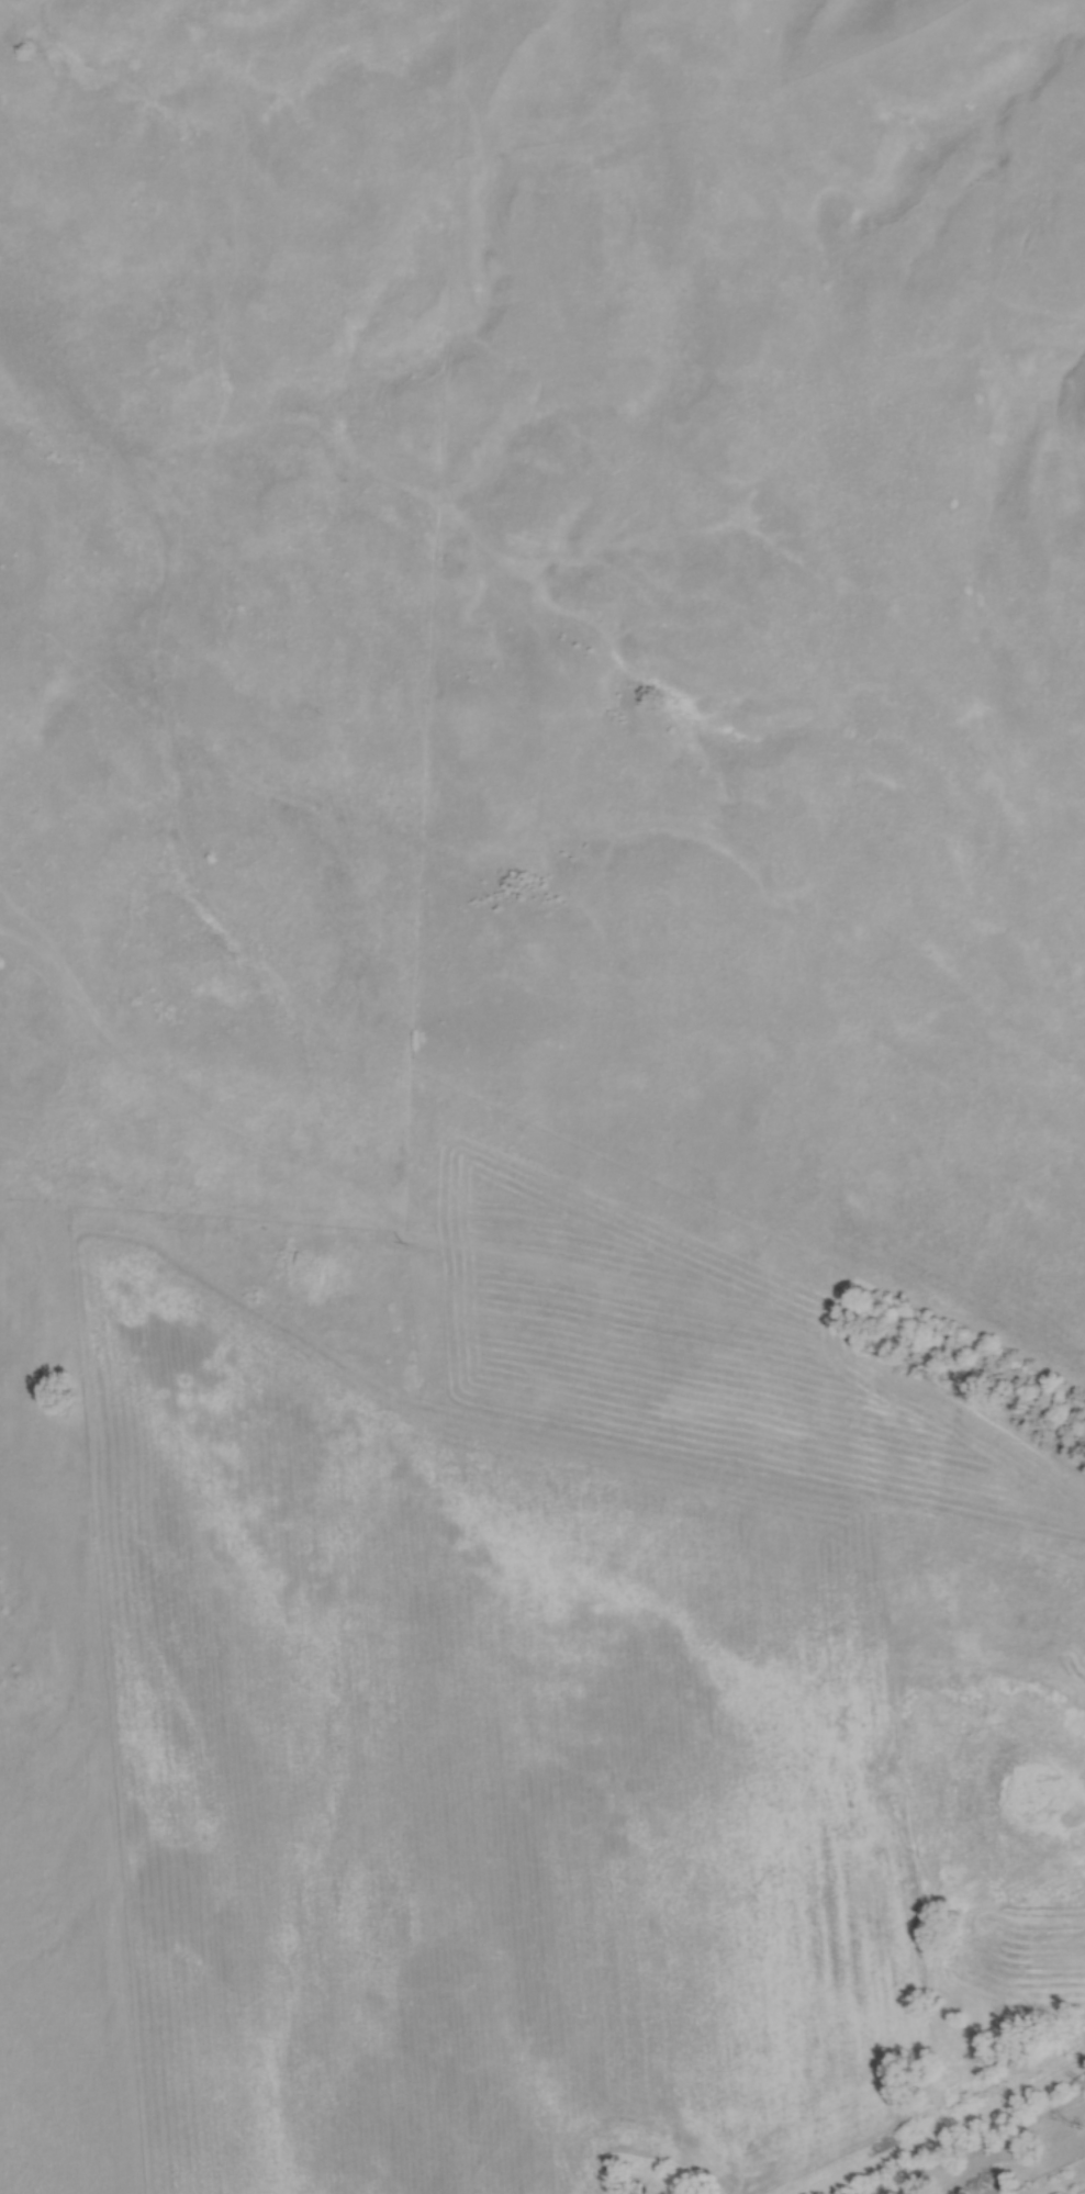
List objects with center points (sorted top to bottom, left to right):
road: (950, 2130)

